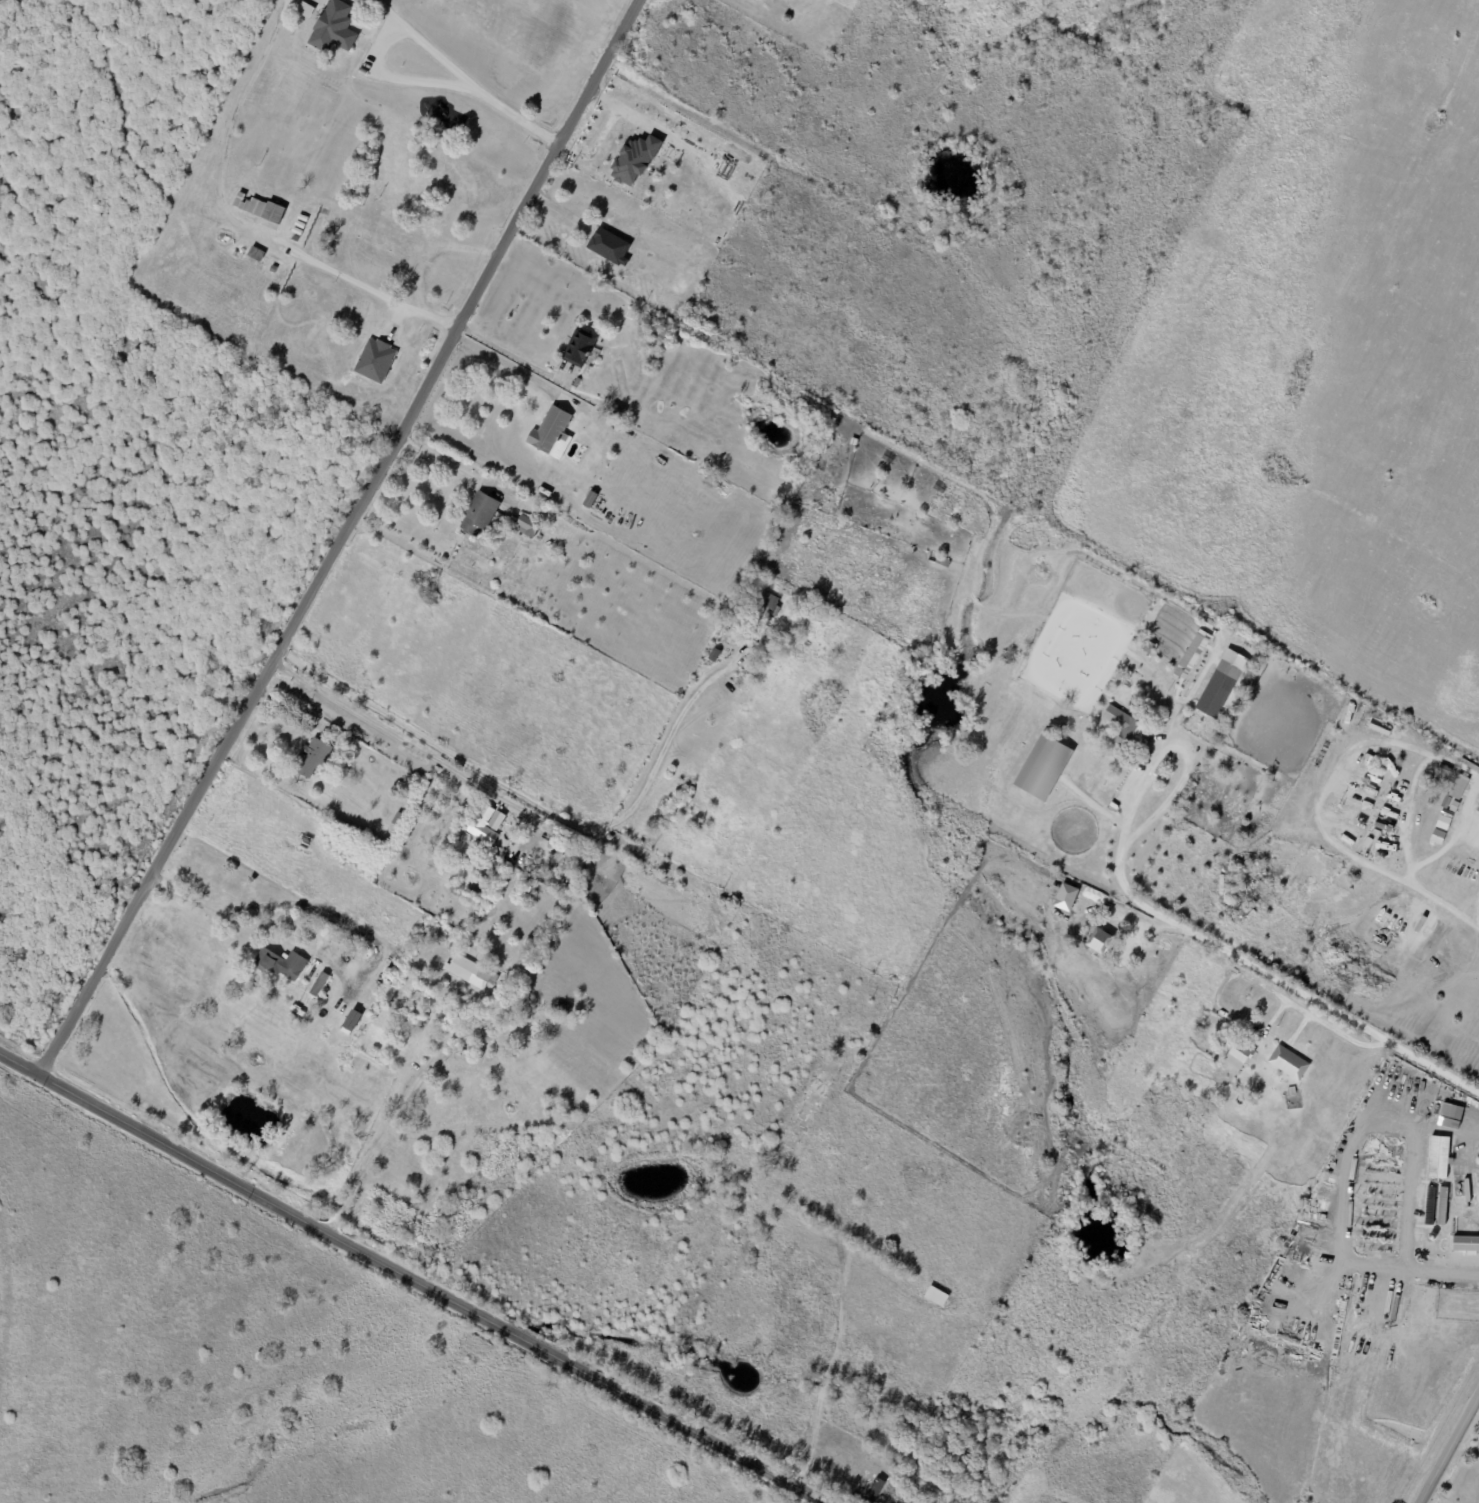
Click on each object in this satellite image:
building: (755, 0)
building: (935, 0)
building: (306, 11)
building: (332, 28)
road: (418, 44)
road: (1478, 99)
building: (636, 159)
building: (403, 163)
building: (260, 207)
building: (306, 213)
building: (303, 218)
building: (300, 225)
building: (297, 232)
building: (294, 238)
building: (609, 247)
building: (255, 255)
road: (430, 257)
building: (271, 260)
building: (278, 264)
road: (1383, 266)
road: (360, 289)
building: (670, 296)
building: (631, 315)
building: (655, 333)
building: (578, 348)
road: (510, 351)
building: (374, 361)
road: (511, 367)
building: (577, 382)
building: (617, 411)
building: (550, 431)
building: (853, 442)
building: (540, 490)
road: (1383, 492)
building: (589, 500)
building: (478, 515)
building: (946, 528)
road: (338, 537)
building: (938, 559)
building: (765, 607)
building: (822, 611)
building: (807, 644)
building: (1148, 646)
building: (1192, 654)
building: (760, 655)
building: (750, 668)
building: (1219, 689)
building: (1123, 725)
road: (1187, 740)
road: (419, 749)
building: (309, 757)
building: (1043, 767)
building: (1445, 769)
building: (1463, 778)
building: (1455, 794)
road: (529, 801)
building: (1445, 802)
building: (1478, 809)
road: (1315, 814)
building: (1448, 816)
building: (397, 819)
building: (483, 828)
building: (1438, 835)
building: (572, 842)
building: (1066, 897)
road: (267, 933)
building: (1099, 941)
building: (280, 964)
building: (466, 968)
road: (1278, 980)
building: (318, 984)
building: (351, 1022)
road: (1334, 1030)
building: (533, 1035)
building: (1237, 1057)
building: (1289, 1063)
building: (1291, 1090)
building: (554, 1108)
road: (398, 1112)
building: (1451, 1117)
road: (1467, 1139)
building: (1439, 1156)
building: (1467, 1189)
building: (1436, 1205)
building: (1466, 1242)
road: (403, 1283)
road: (1475, 1405)
road: (1447, 1446)

